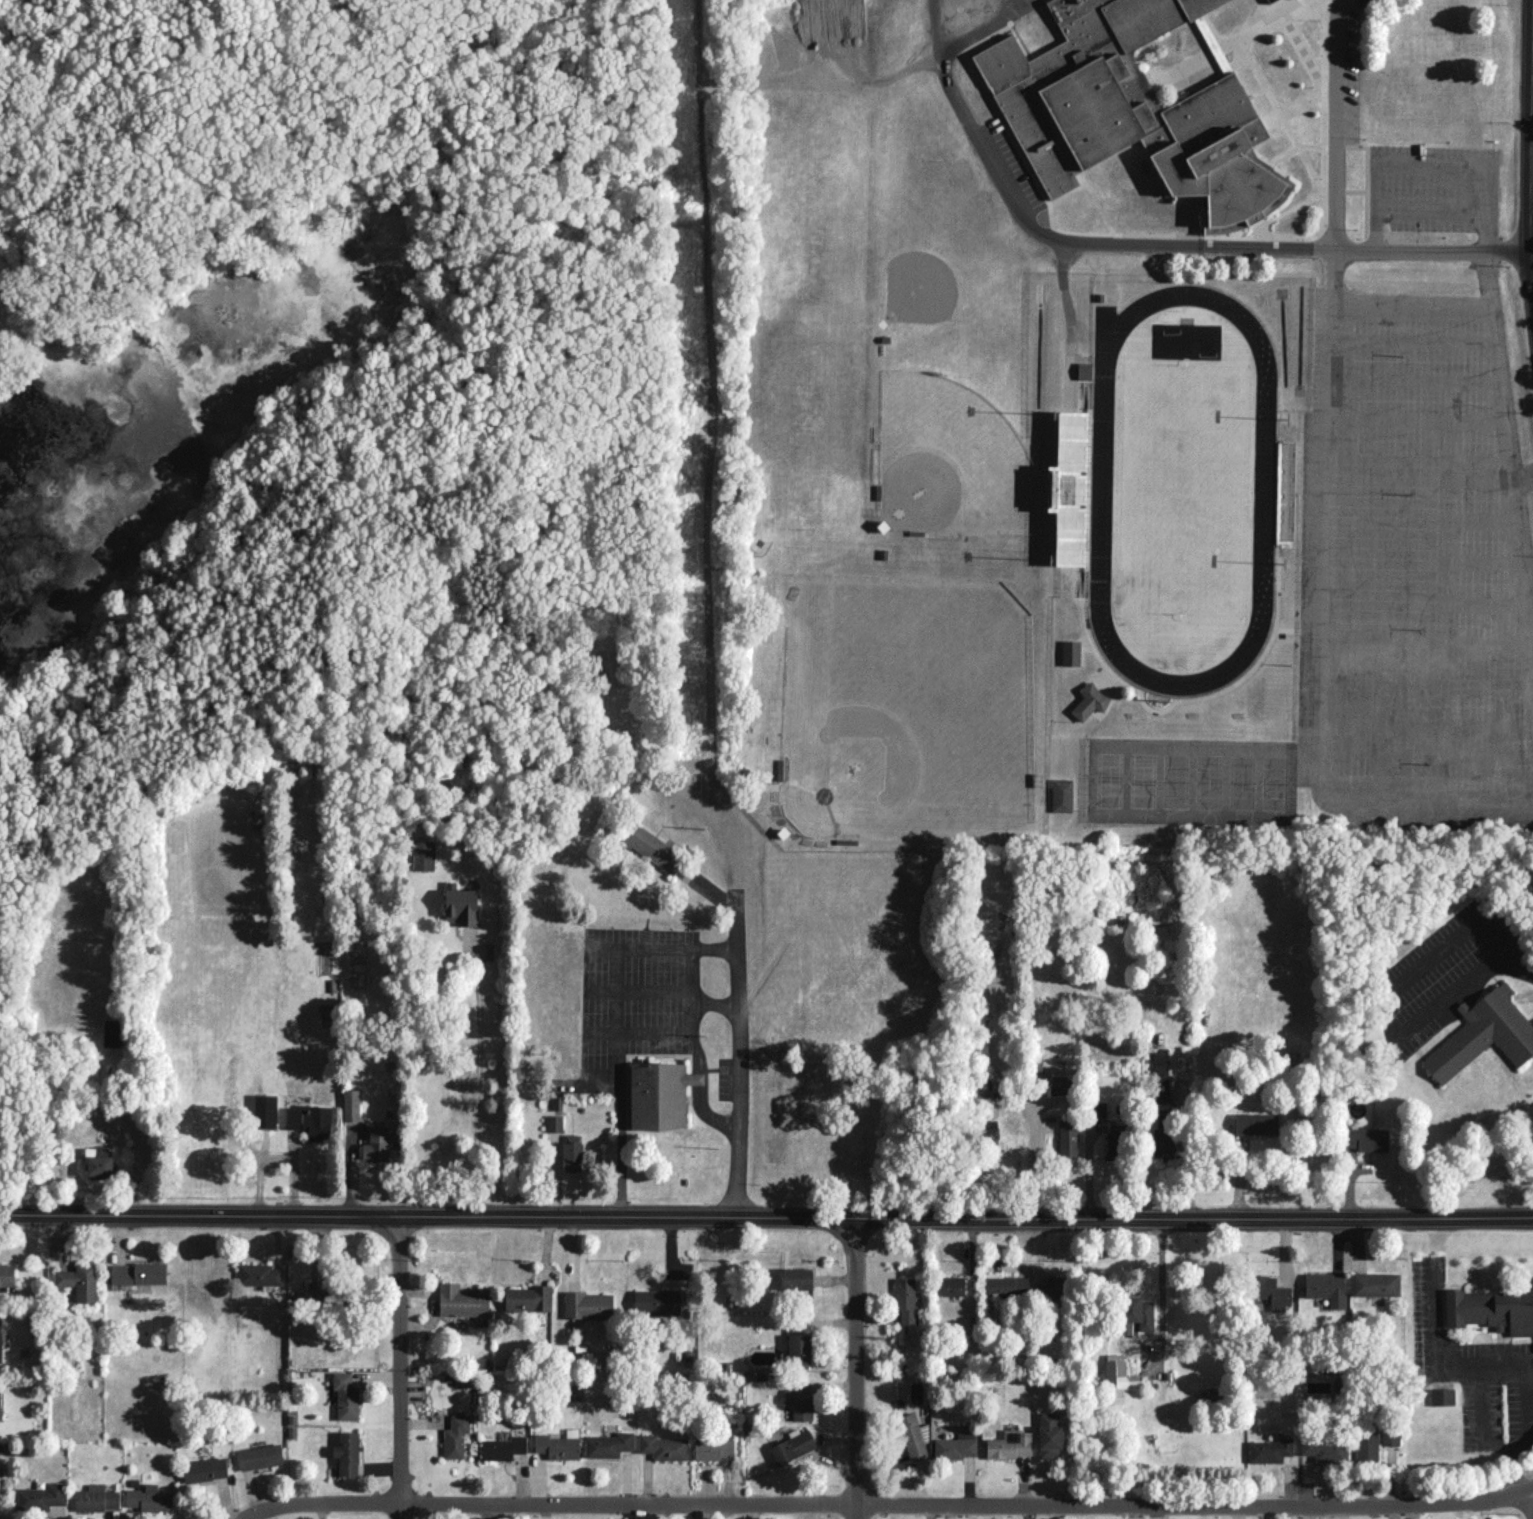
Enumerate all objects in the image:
building: (1132, 112)
road: (1337, 124)
road: (1432, 169)
parking lot: (1432, 190)
road: (1432, 212)
road: (1153, 246)
road: (1412, 308)
road: (1414, 343)
road: (1415, 382)
road: (1417, 424)
park: (952, 463)
road: (1418, 473)
track: (1266, 490)
park: (1185, 493)
road: (1509, 500)
road: (1420, 526)
parking lot: (1415, 569)
road: (1325, 627)
park: (909, 710)
park: (1109, 783)
park: (1142, 784)
park: (1176, 784)
park: (1209, 785)
park: (1242, 785)
park: (1275, 786)
building: (423, 855)
building: (462, 906)
road: (1514, 970)
road: (680, 991)
road: (1367, 1002)
road: (615, 1019)
road: (740, 1033)
building: (1483, 1034)
building: (686, 1075)
road: (477, 1092)
road: (95, 1103)
building: (351, 1104)
building: (1098, 1108)
building: (555, 1122)
building: (1256, 1123)
building: (1163, 1133)
building: (1366, 1138)
building: (377, 1144)
road: (1032, 1149)
building: (572, 1156)
road: (279, 1159)
road: (1089, 1167)
road: (766, 1215)
building: (139, 1273)
building: (6, 1274)
building: (259, 1274)
building: (79, 1280)
road: (1162, 1280)
building: (1375, 1283)
building: (953, 1285)
building: (1007, 1285)
building: (1053, 1286)
building: (1327, 1287)
building: (1271, 1291)
building: (528, 1298)
building: (462, 1300)
building: (657, 1300)
building: (588, 1304)
building: (1491, 1309)
building: (1138, 1313)
building: (0, 1340)
road: (1436, 1360)
road: (398, 1367)
road: (856, 1368)
building: (1115, 1377)
building: (346, 1395)
road: (1529, 1403)
road: (1482, 1420)
building: (911, 1435)
building: (1390, 1436)
building: (609, 1444)
building: (956, 1445)
building: (1010, 1445)
building: (557, 1446)
building: (663, 1446)
building: (793, 1446)
building: (1366, 1446)
building: (503, 1447)
building: (713, 1448)
building: (1270, 1449)
building: (1325, 1449)
building: (347, 1452)
building: (260, 1455)
road: (1514, 1457)
building: (205, 1469)
building: (42, 1496)
building: (96, 1497)
building: (149, 1498)
road: (1532, 1504)
road: (886, 1505)

